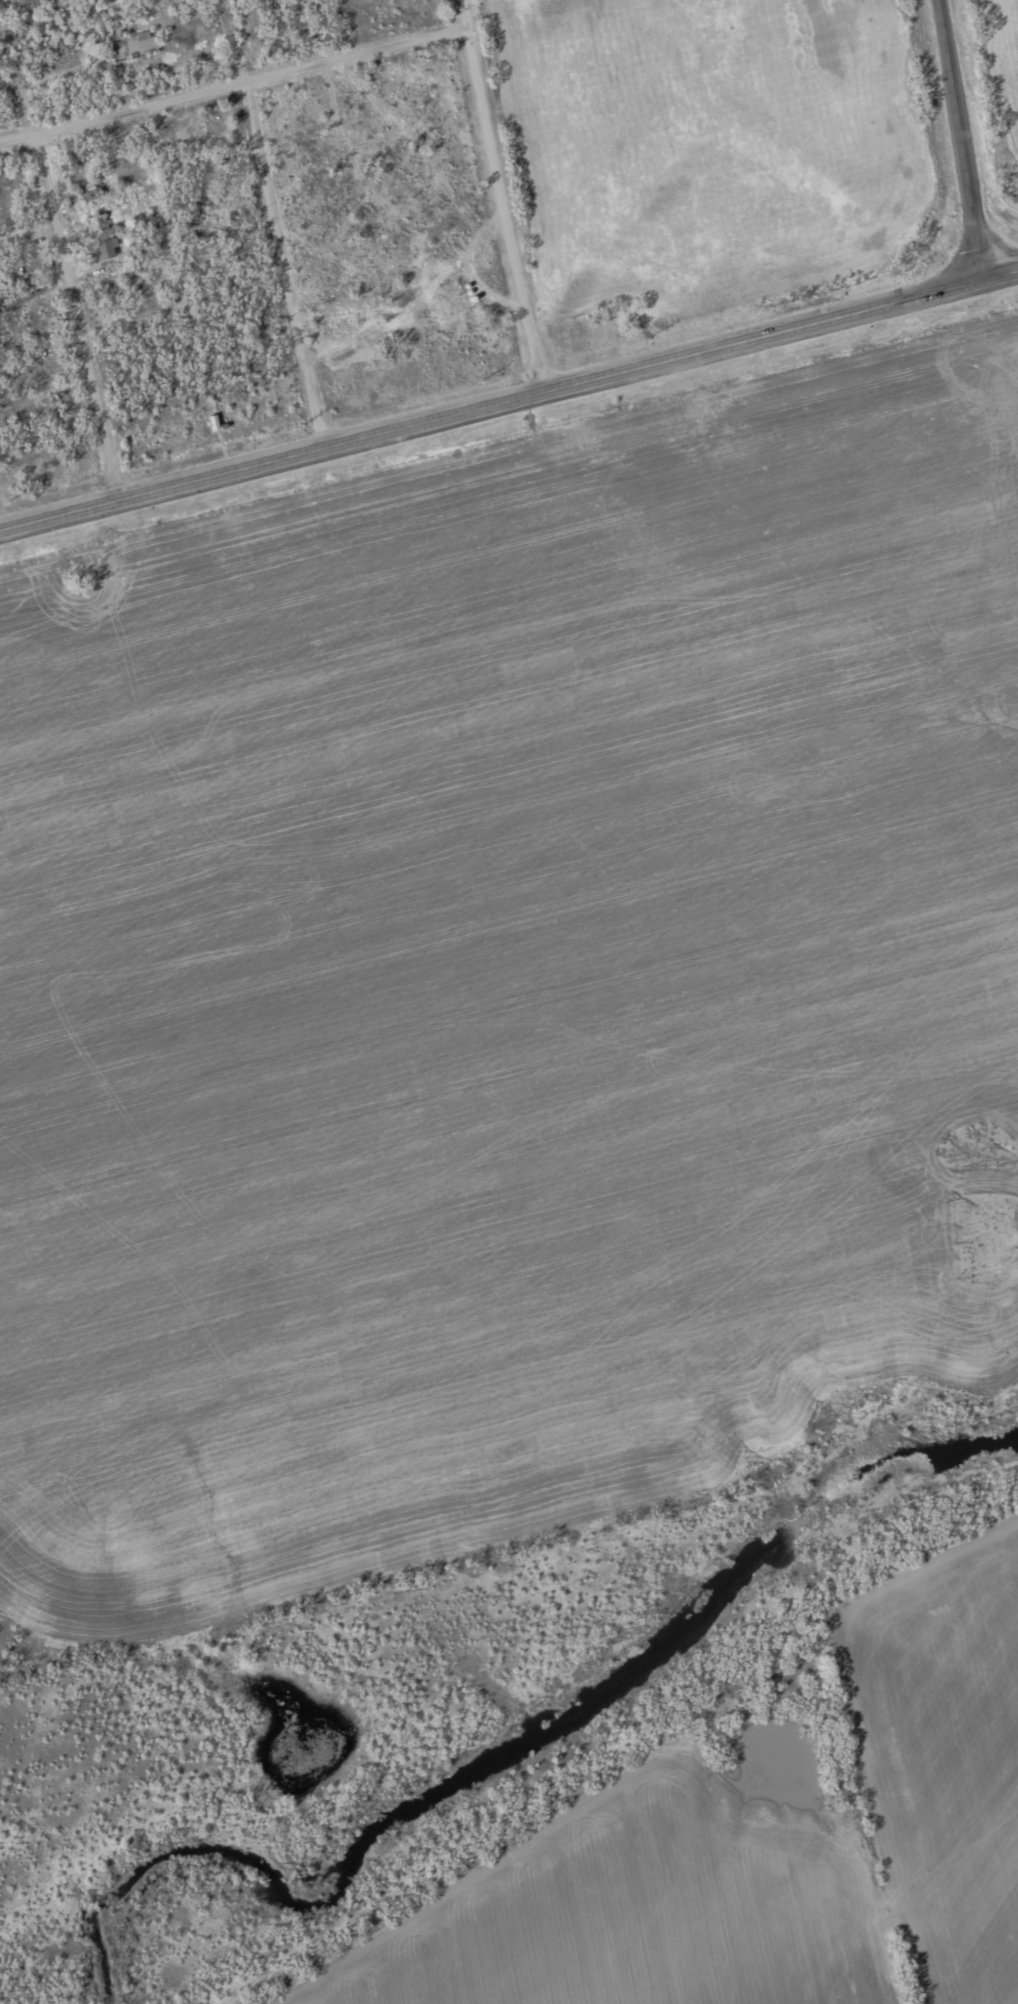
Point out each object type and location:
road: (250, 84)
road: (17, 137)
road: (961, 140)
road: (501, 195)
building: (97, 224)
building: (105, 248)
road: (278, 268)
road: (77, 316)
road: (509, 400)

